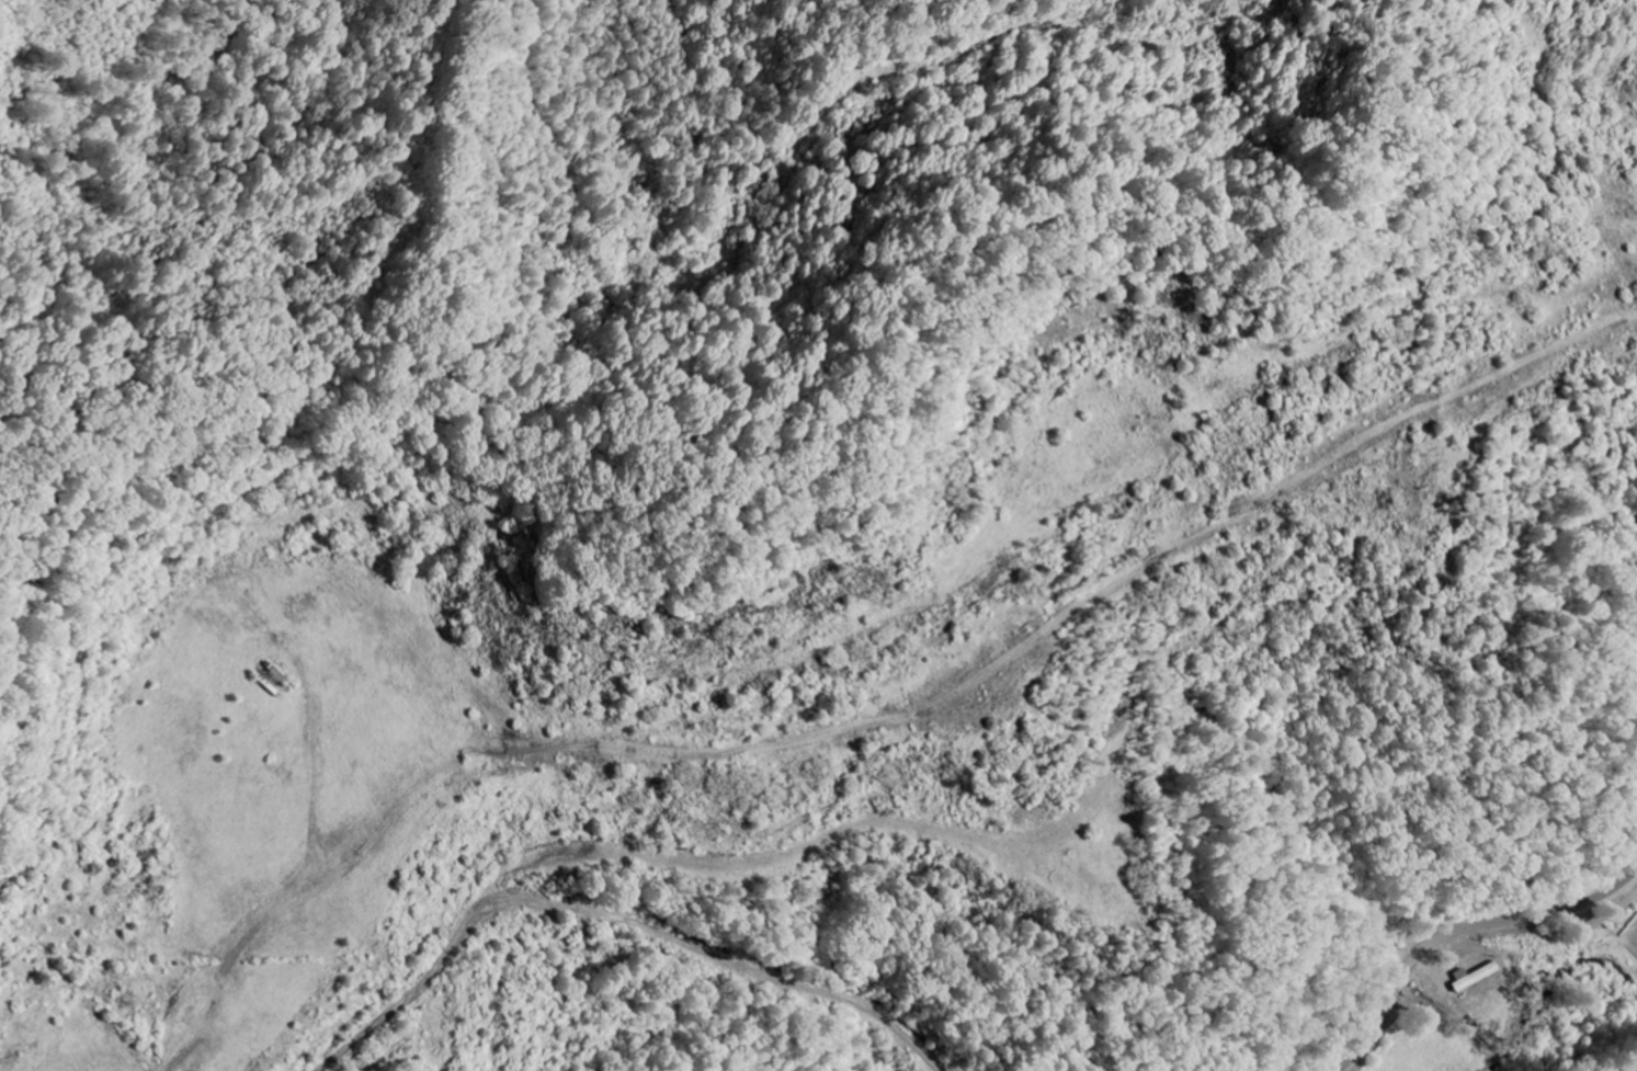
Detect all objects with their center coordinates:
road: (1462, 930)
building: (1474, 978)

